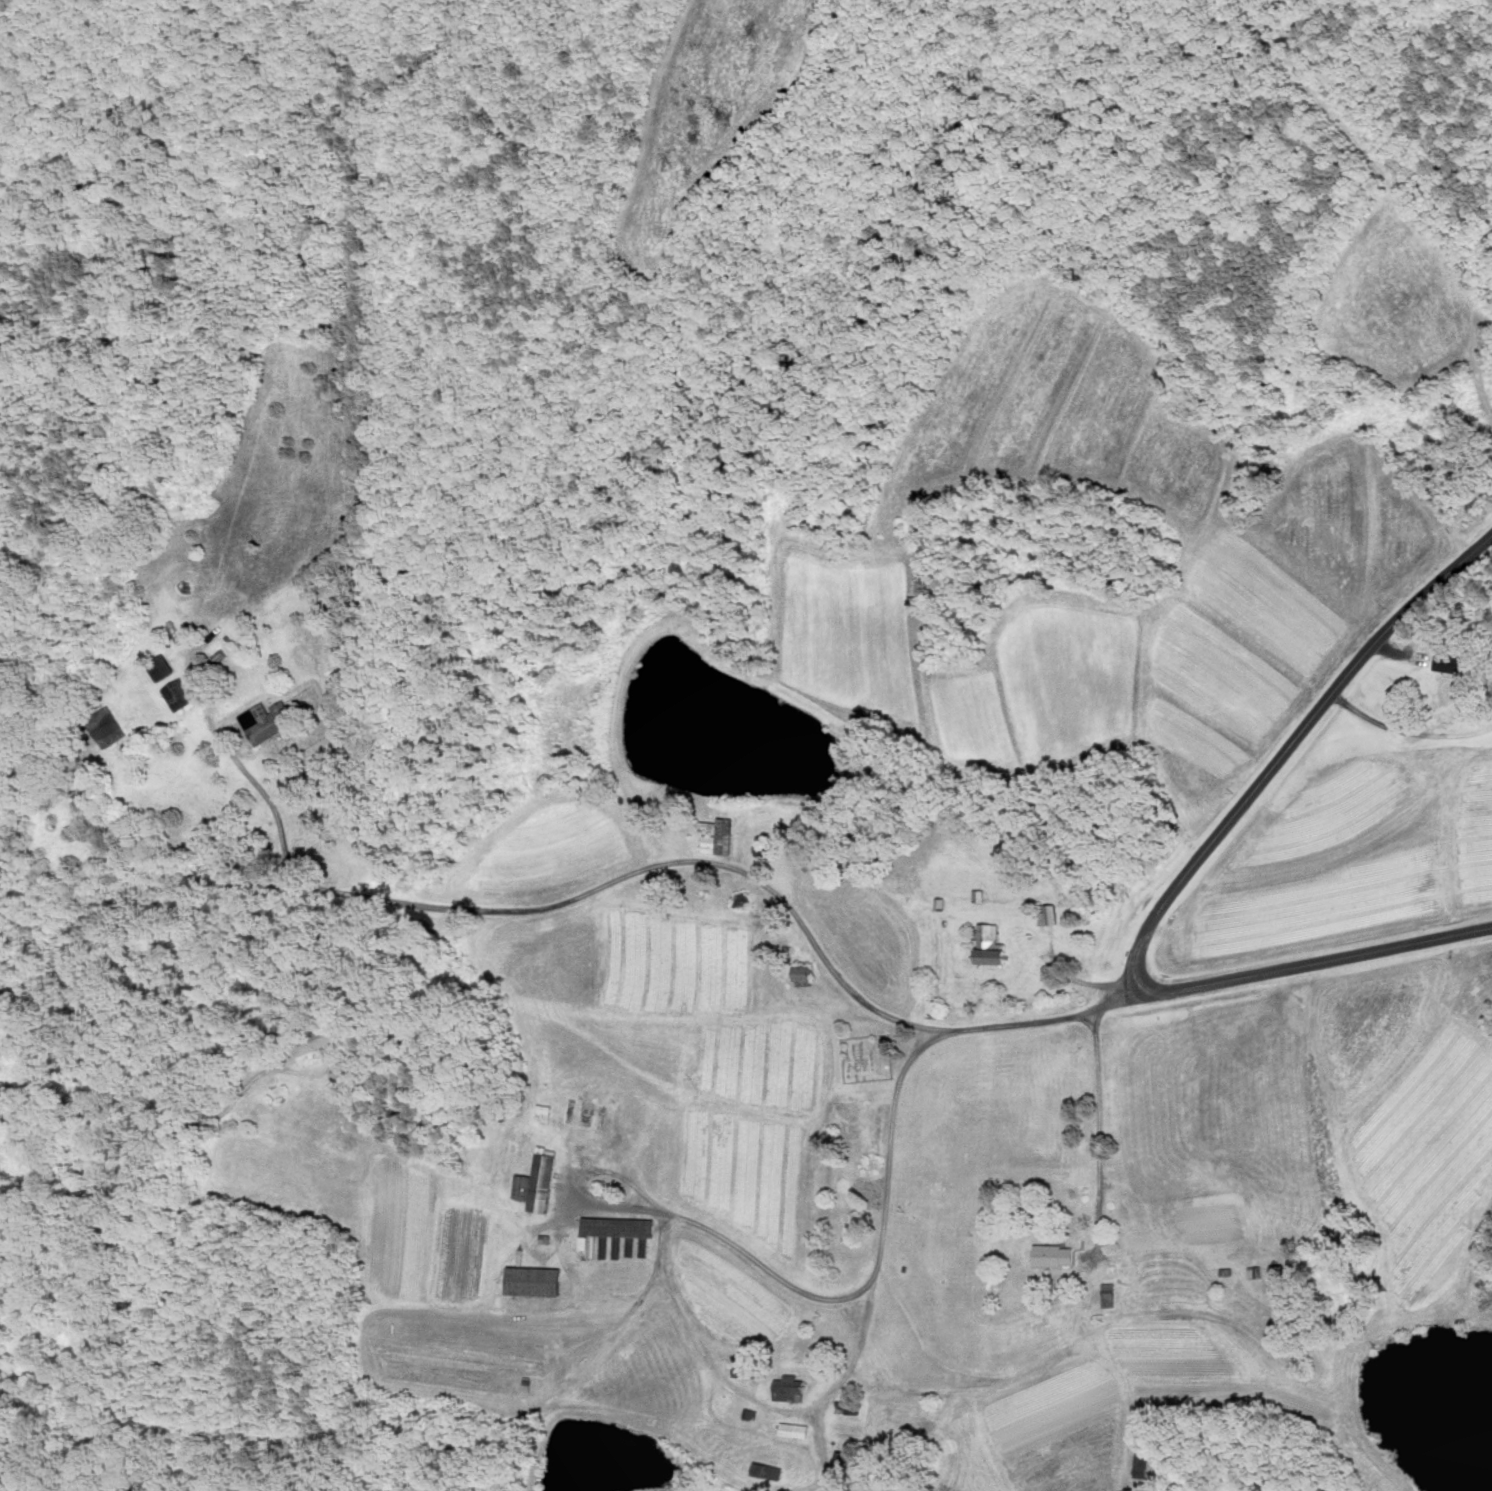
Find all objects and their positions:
building: (1485, 623)
building: (1454, 662)
building: (159, 668)
building: (177, 695)
building: (266, 721)
road: (1408, 730)
building: (720, 835)
road: (681, 859)
road: (1177, 884)
building: (990, 947)
building: (803, 975)
road: (76, 1014)
building: (311, 1041)
park: (867, 1057)
road: (1097, 1116)
building: (536, 1185)
building: (617, 1227)
building: (1054, 1256)
road: (879, 1259)
building: (1277, 1278)
building: (533, 1282)
road: (685, 1316)
building: (475, 1340)
road: (590, 1366)
building: (789, 1390)
building: (846, 1408)
building: (793, 1431)
building: (840, 1463)
building: (1141, 1463)
building: (764, 1471)

